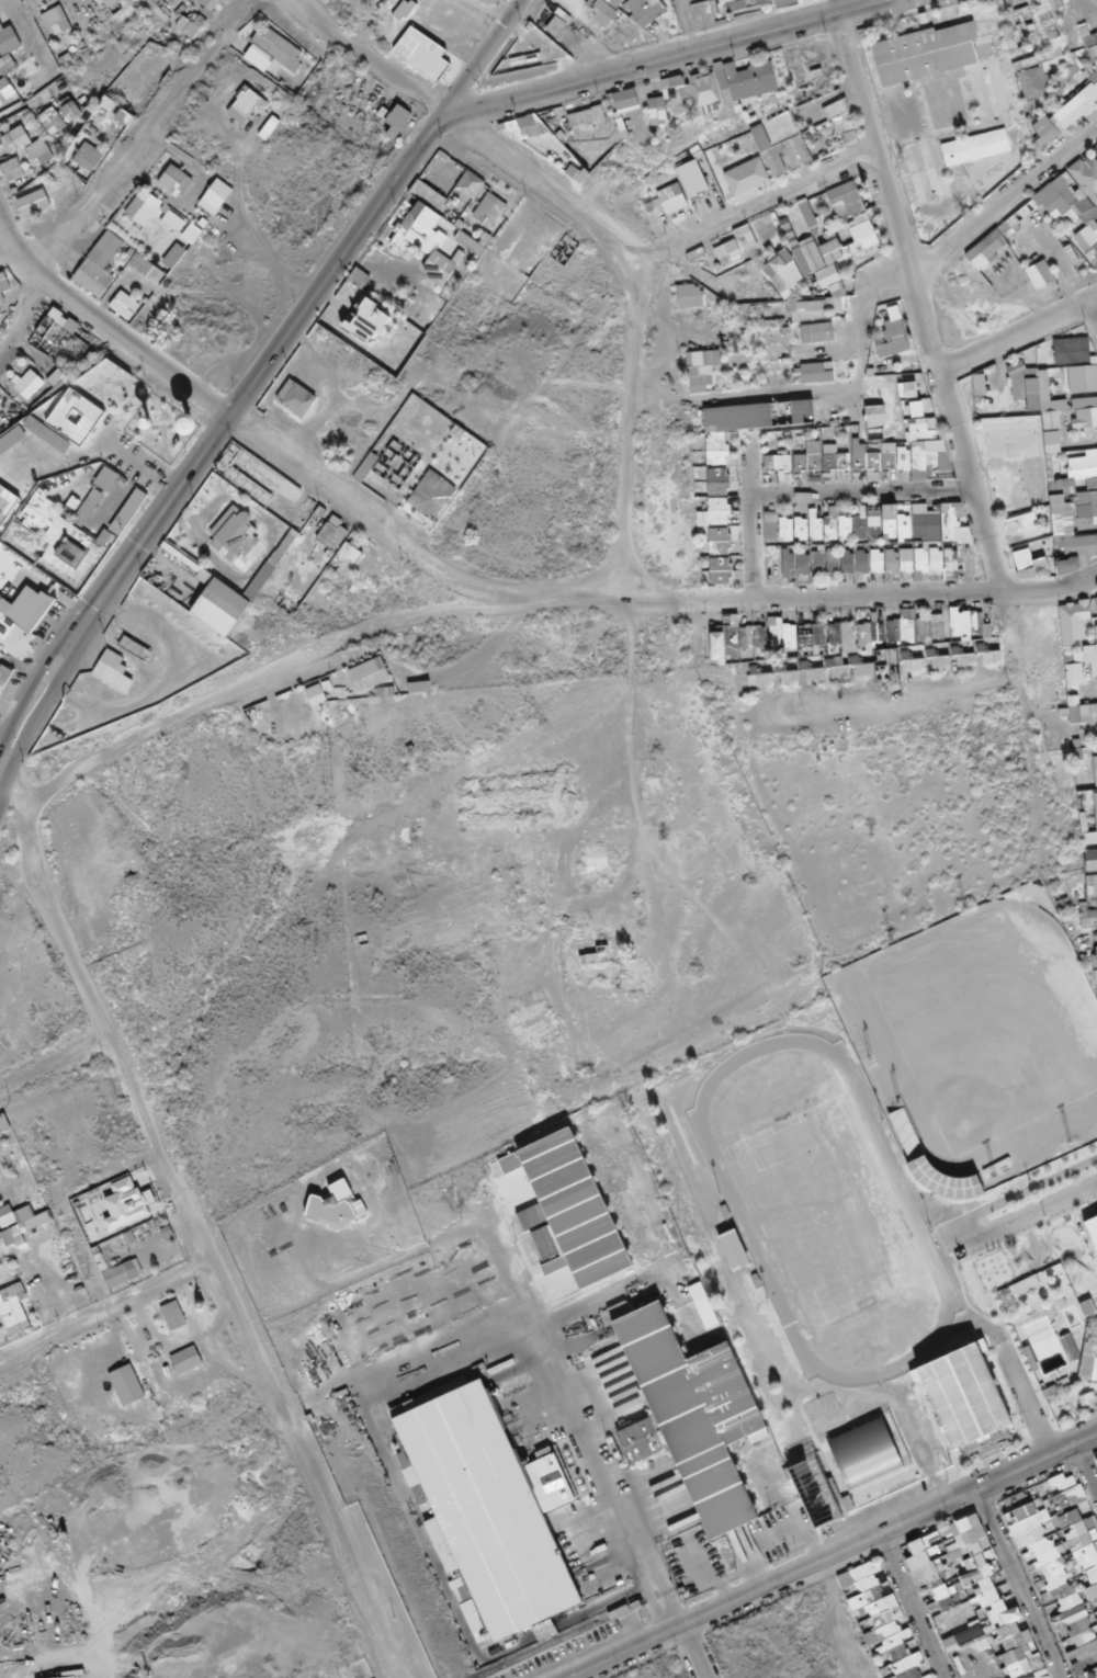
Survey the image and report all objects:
road: (1, 0)
road: (687, 25)
road: (19, 36)
road: (667, 58)
road: (484, 59)
road: (460, 129)
road: (143, 139)
road: (1003, 202)
road: (747, 207)
road: (4, 249)
road: (20, 311)
road: (1093, 314)
road: (925, 337)
road: (1017, 337)
road: (261, 371)
road: (802, 396)
road: (339, 406)
road: (248, 430)
road: (620, 434)
road: (92, 451)
road: (857, 492)
road: (118, 500)
road: (744, 522)
road: (47, 586)
road: (536, 605)
road: (165, 671)
road: (34, 681)
road: (886, 692)
road: (42, 713)
road: (1024, 748)
road: (818, 967)
stadium: (974, 1045)
road: (54, 1065)
road: (1031, 1191)
road: (1029, 1213)
road: (194, 1225)
road: (105, 1316)
road: (767, 1358)
road: (402, 1363)
road: (1014, 1380)
building: (1077, 1386)
building: (966, 1409)
road: (1085, 1470)
road: (599, 1477)
road: (833, 1552)
road: (1016, 1583)
road: (905, 1606)
road: (686, 1653)

